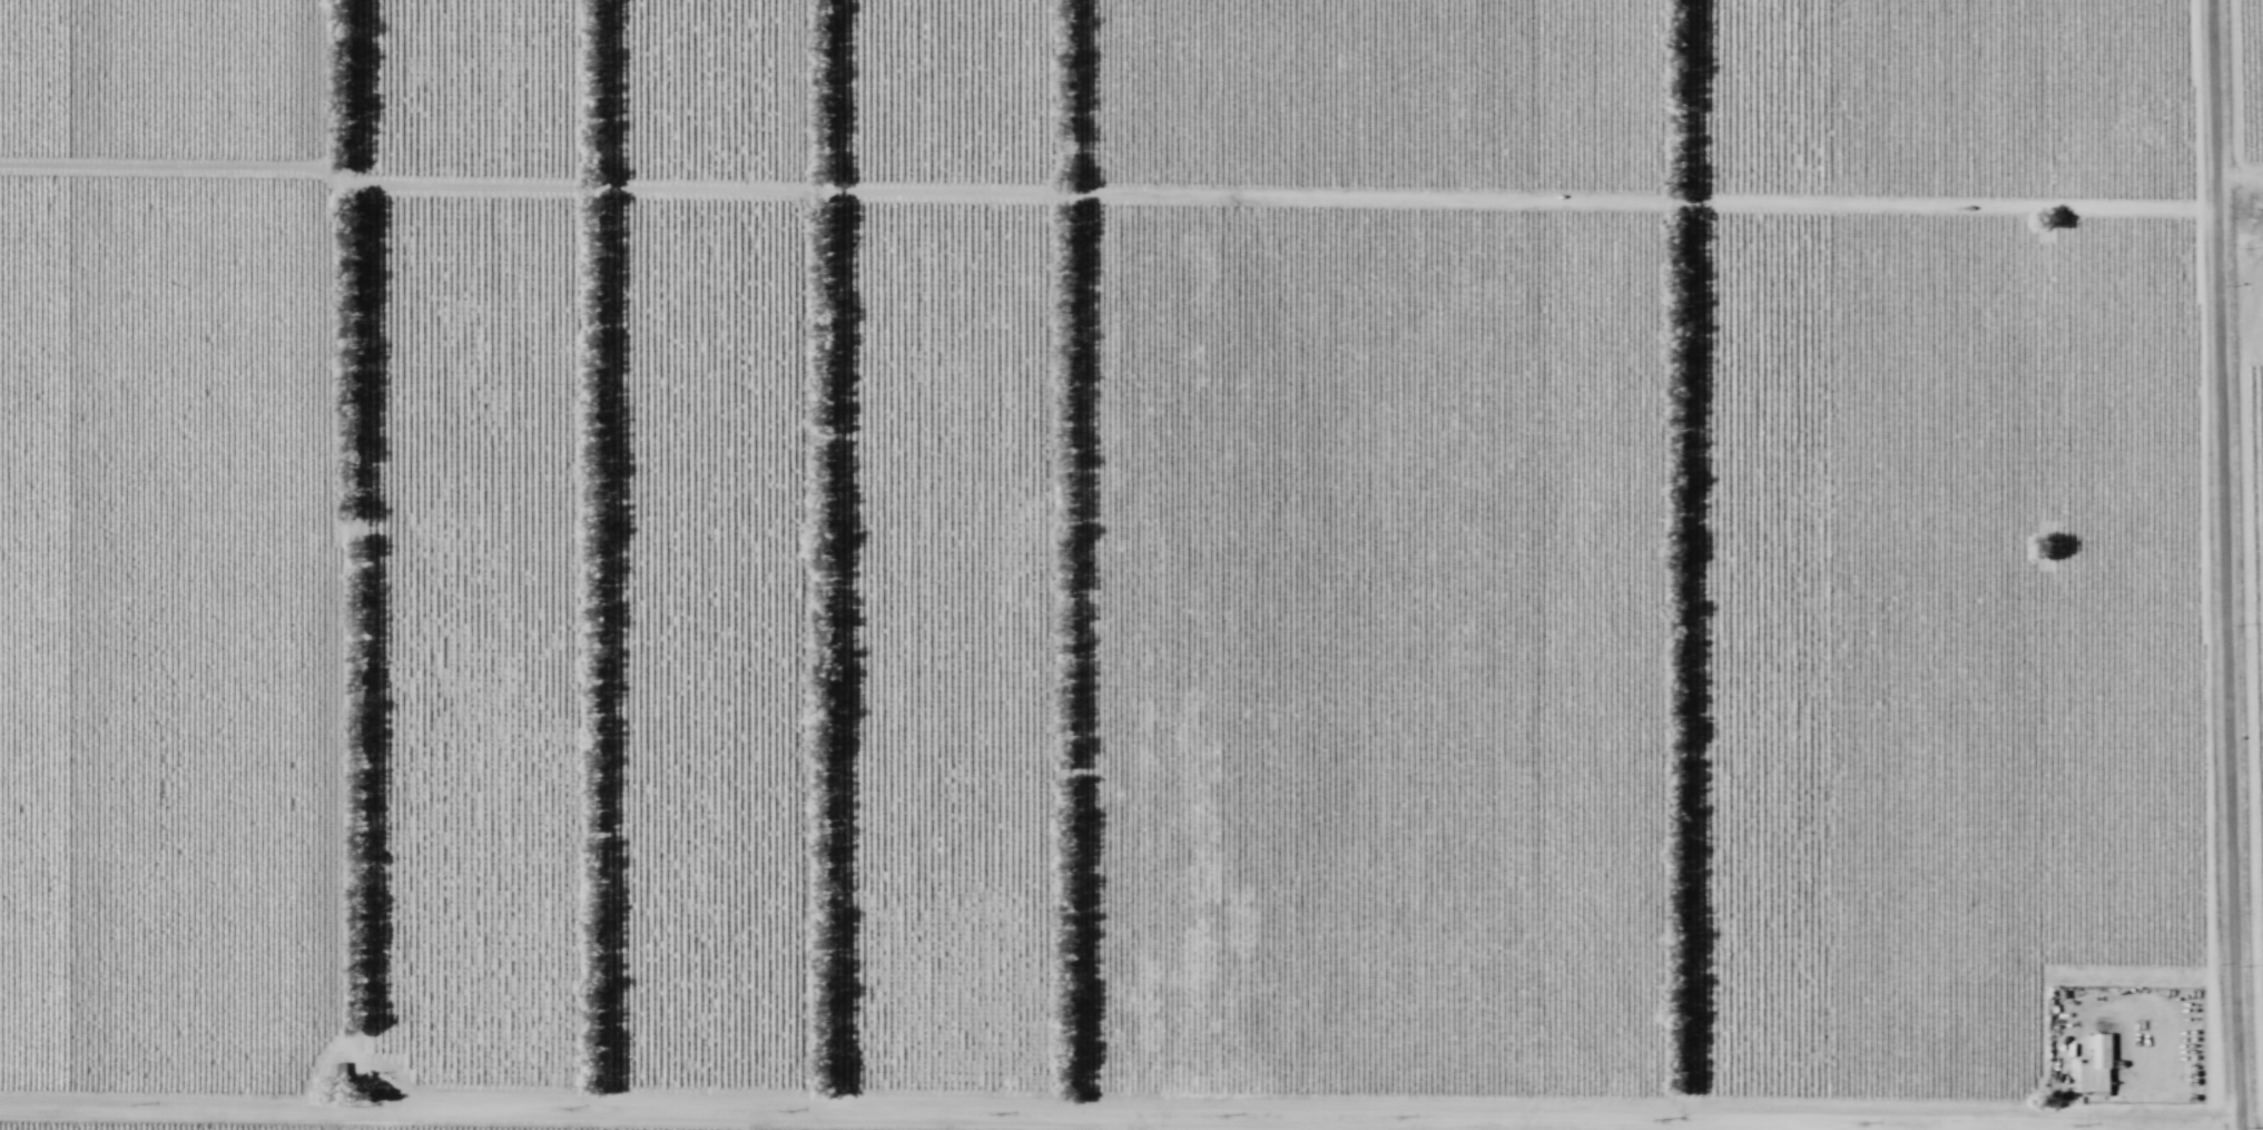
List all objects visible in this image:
road: (168, 166)
road: (2241, 177)
road: (1278, 199)
road: (341, 554)
crop: (1131, 564)
road: (2225, 564)
building: (2105, 1064)
building: (2084, 1078)
road: (1120, 1117)
road: (2221, 1128)

